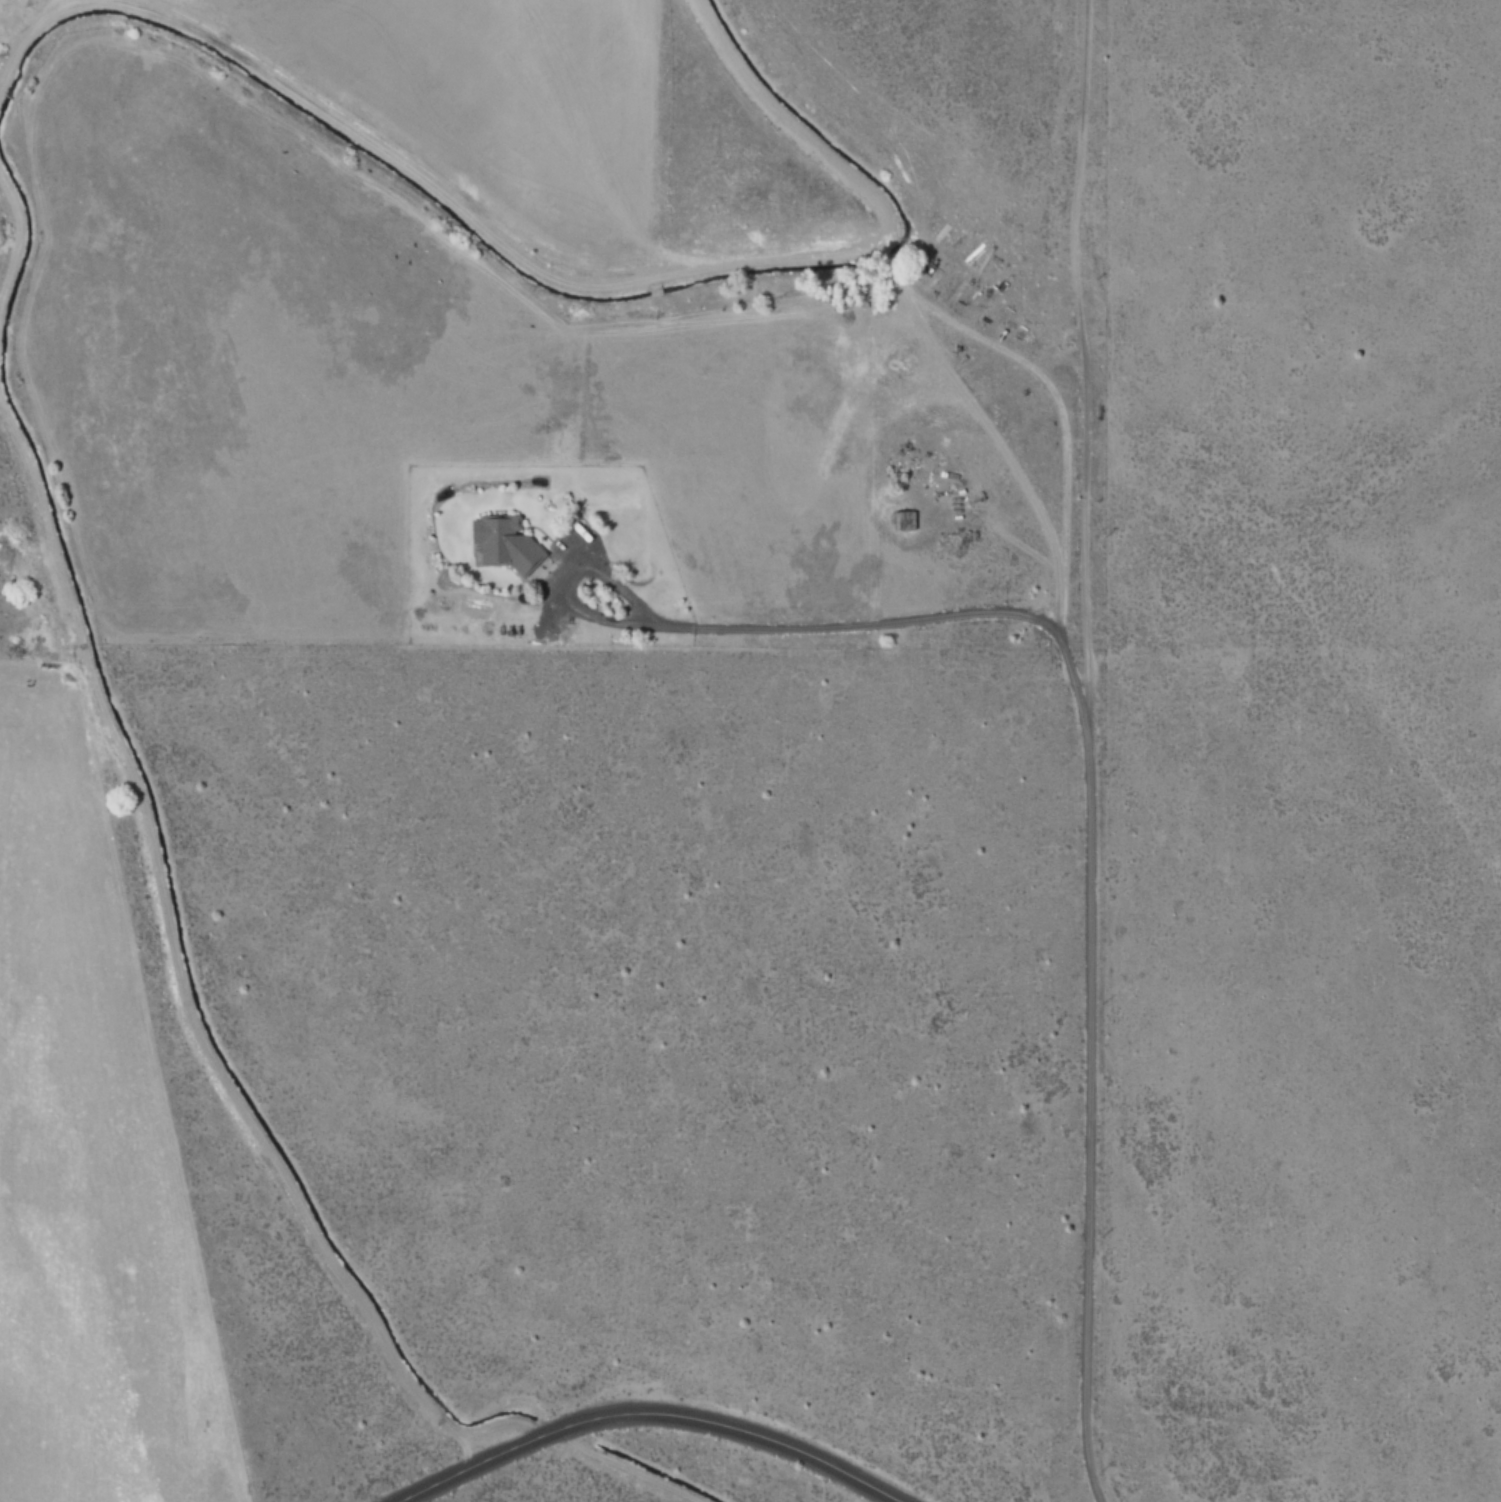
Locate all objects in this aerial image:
crop: (468, 436)
building: (902, 521)
building: (500, 542)
road: (1082, 751)
road: (647, 1416)

